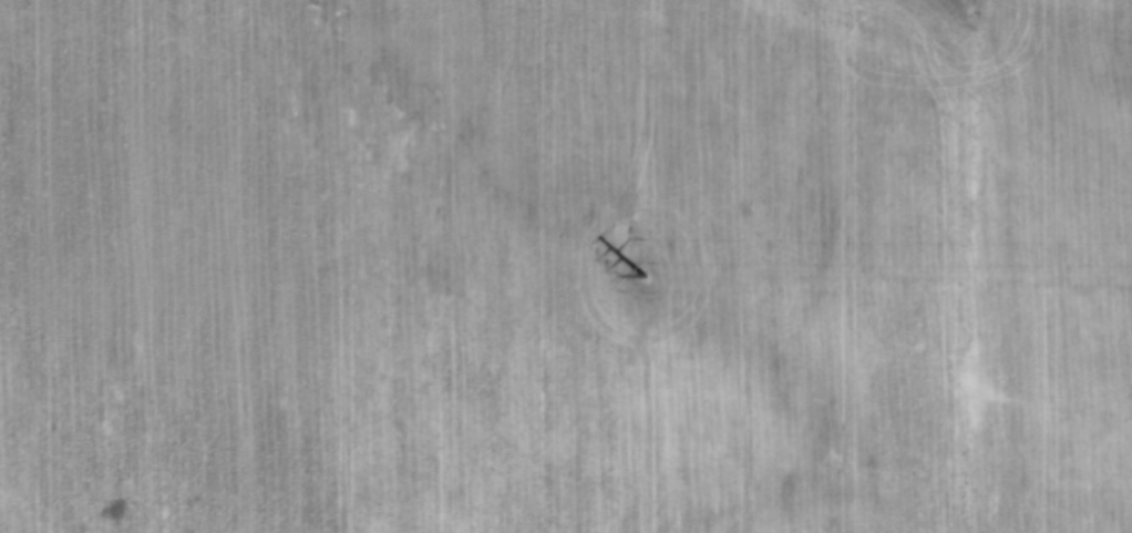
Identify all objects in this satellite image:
road: (969, 266)
power tower: (648, 273)

